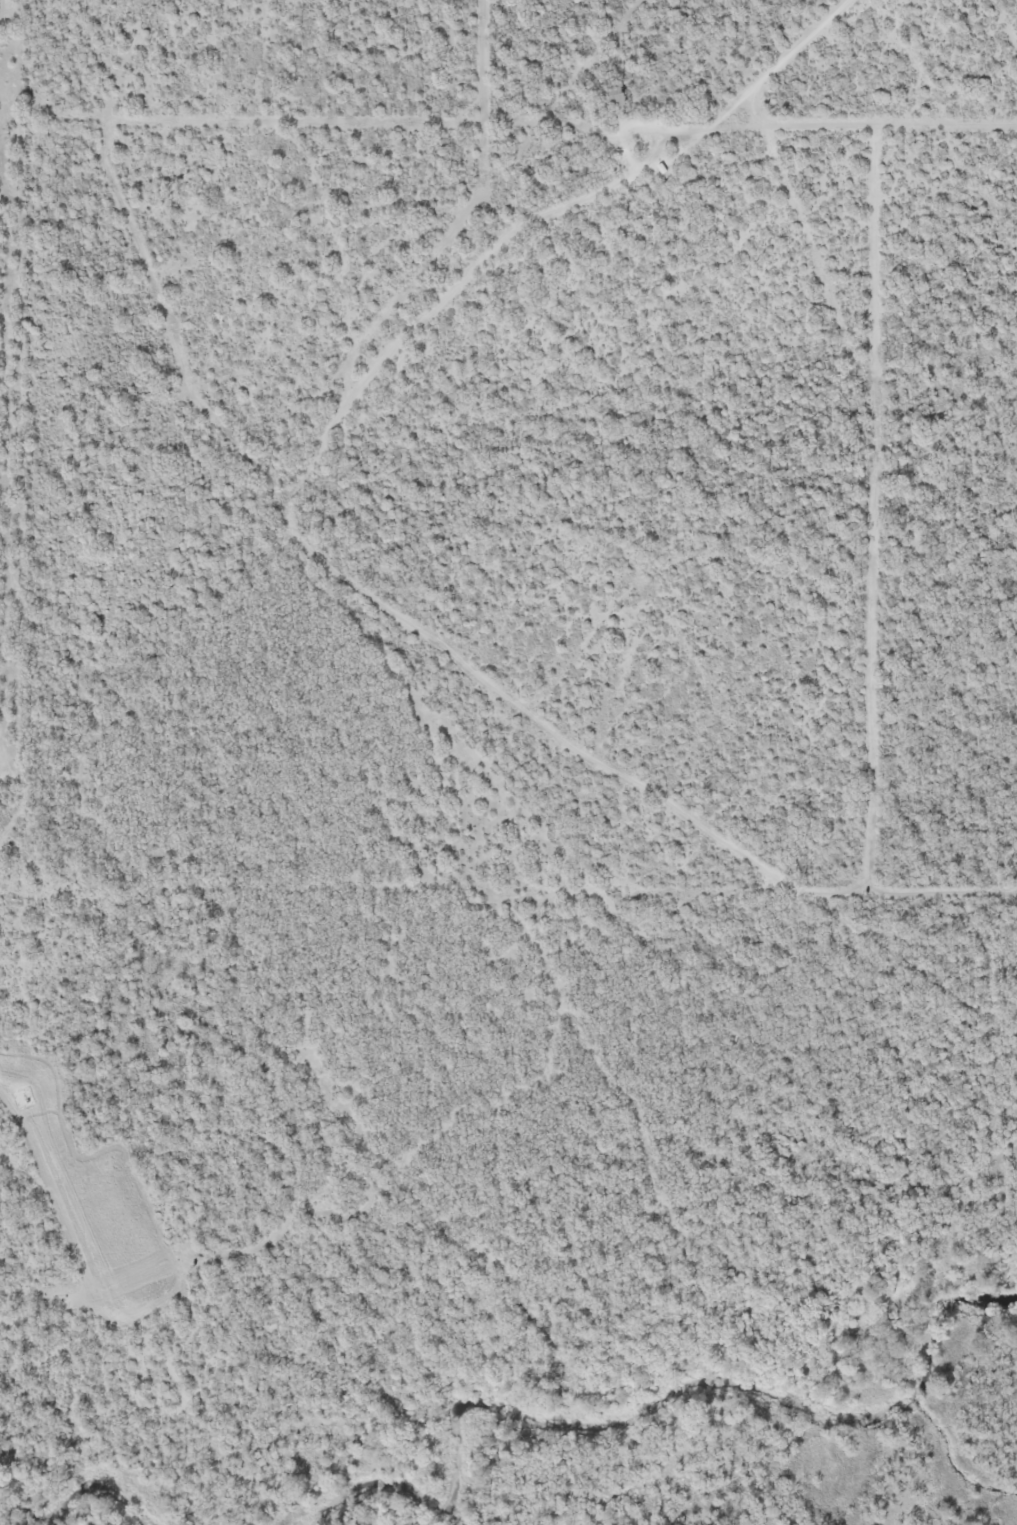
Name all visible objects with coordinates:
road: (101, 1247)
river: (650, 1420)
river: (109, 1485)

